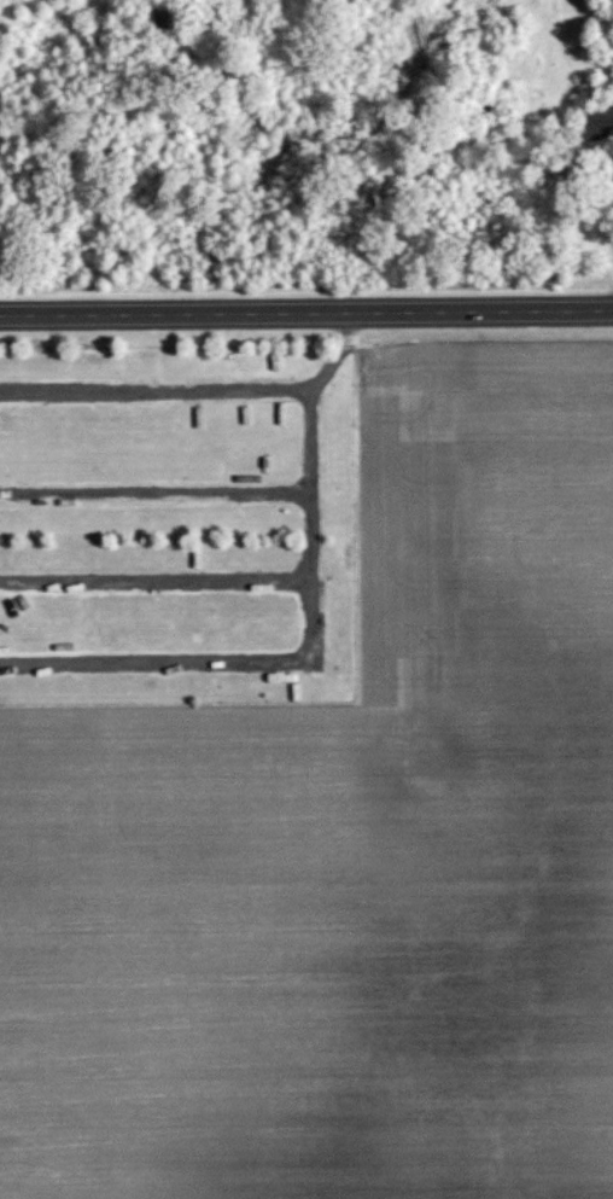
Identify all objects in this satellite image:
building: (601, 122)
road: (306, 312)

